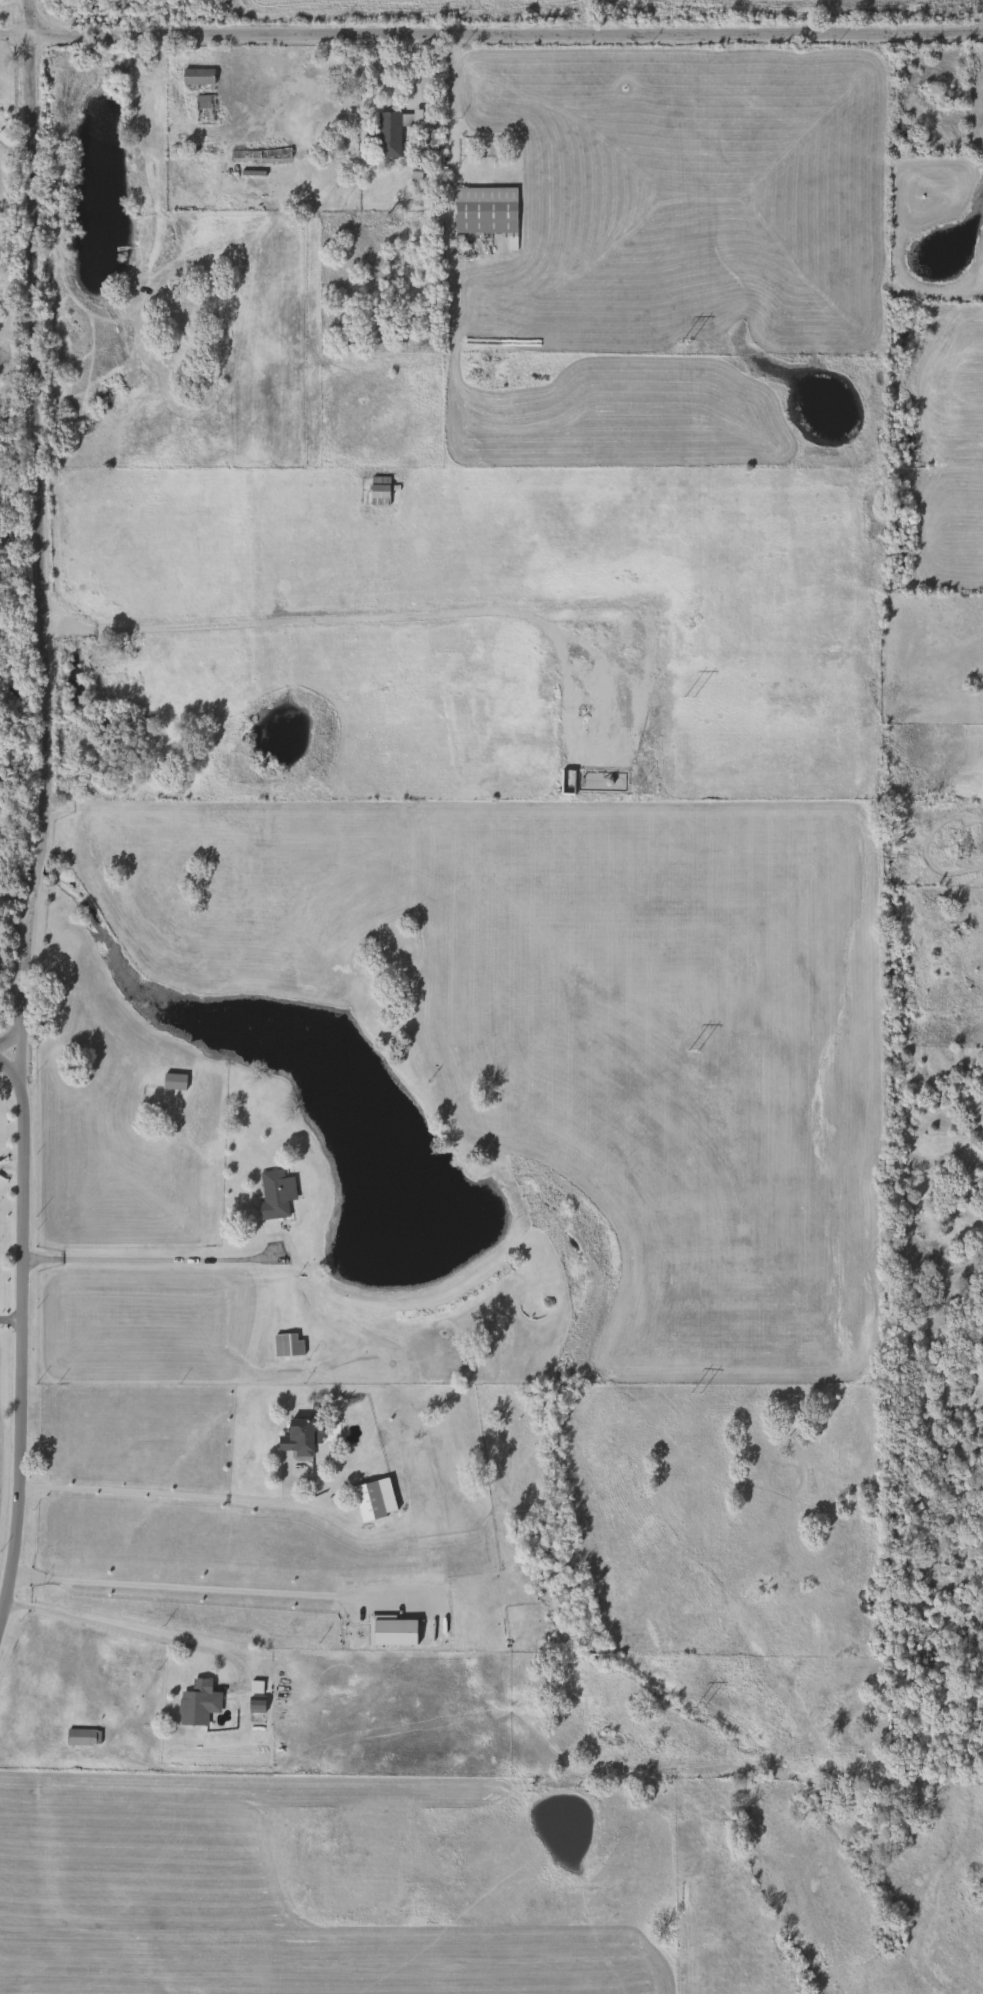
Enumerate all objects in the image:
power tower: (680, 10)
road: (491, 30)
building: (194, 77)
building: (201, 109)
building: (385, 135)
road: (12, 146)
building: (257, 154)
building: (482, 211)
road: (15, 290)
power tower: (684, 341)
road: (32, 429)
building: (376, 491)
road: (330, 620)
power tower: (688, 696)
road: (35, 868)
road: (10, 1037)
power tower: (692, 1051)
road: (9, 1071)
building: (170, 1080)
road: (10, 1168)
building: (272, 1194)
road: (18, 1240)
road: (128, 1248)
park: (2, 1266)
road: (8, 1318)
building: (284, 1344)
power tower: (695, 1394)
building: (296, 1438)
road: (149, 1486)
building: (365, 1500)
road: (187, 1587)
road: (130, 1631)
building: (194, 1703)
building: (253, 1705)
power tower: (699, 1708)
building: (79, 1737)

